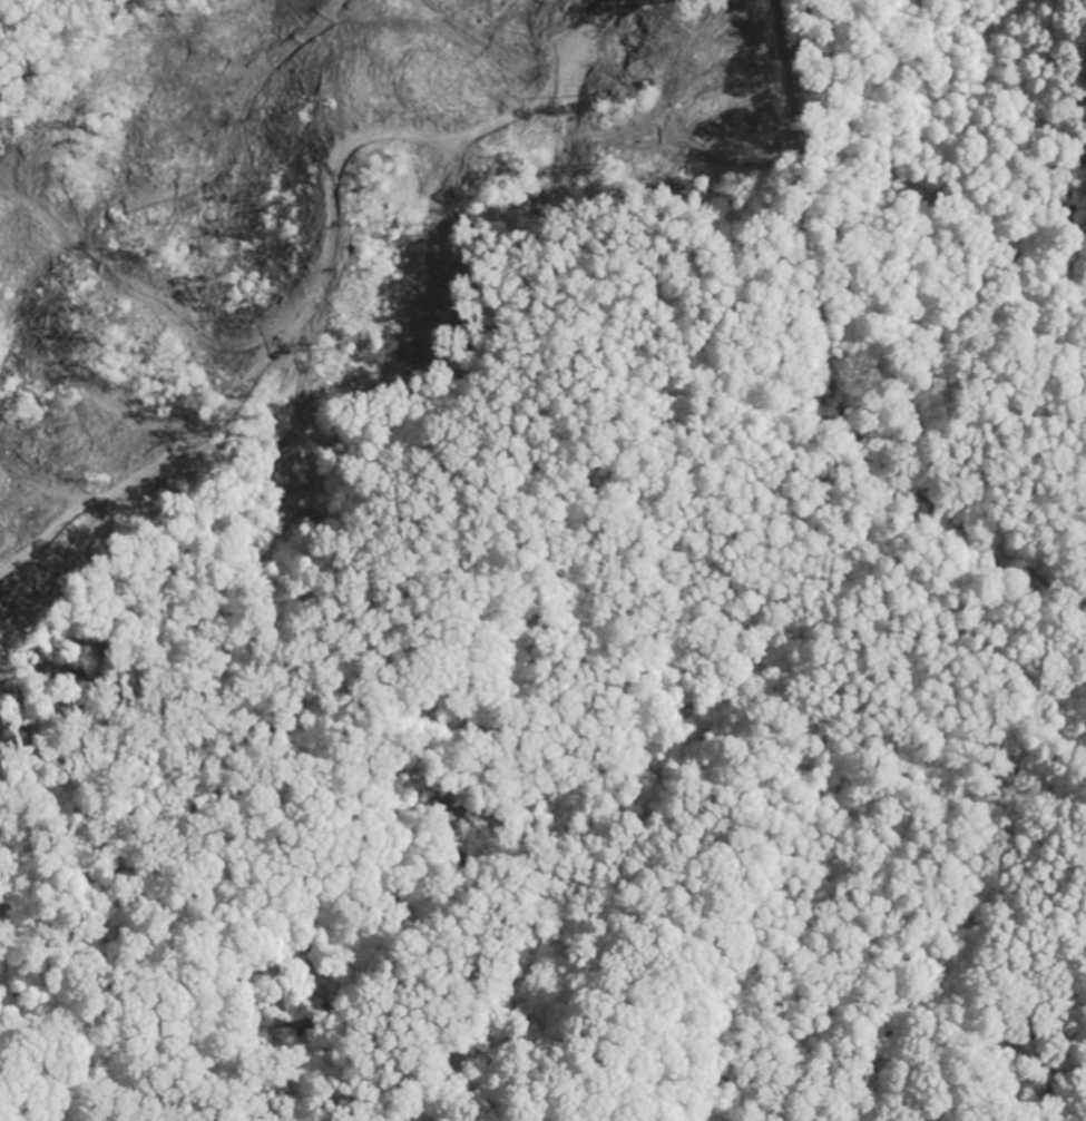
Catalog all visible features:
road: (789, 396)

